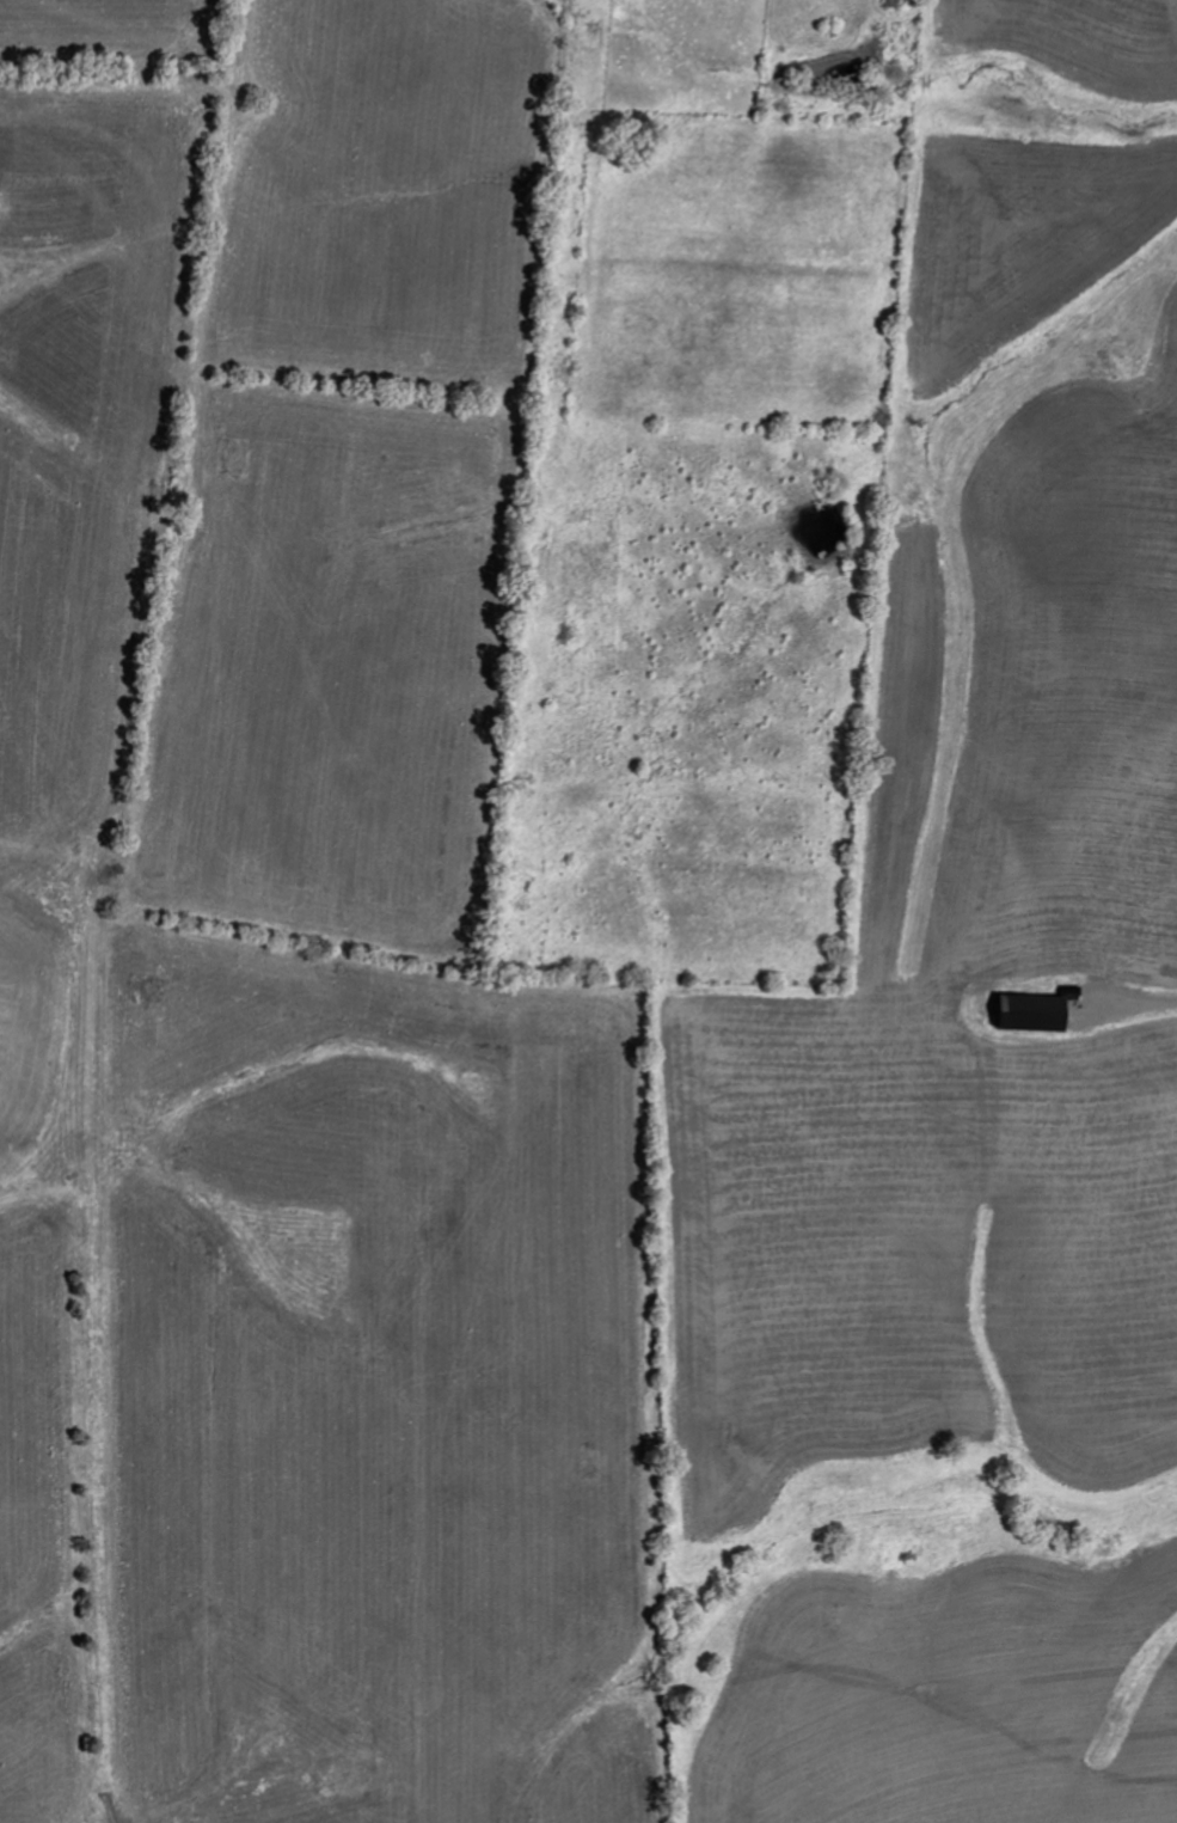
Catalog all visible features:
road: (1139, 1004)
building: (1032, 1011)

